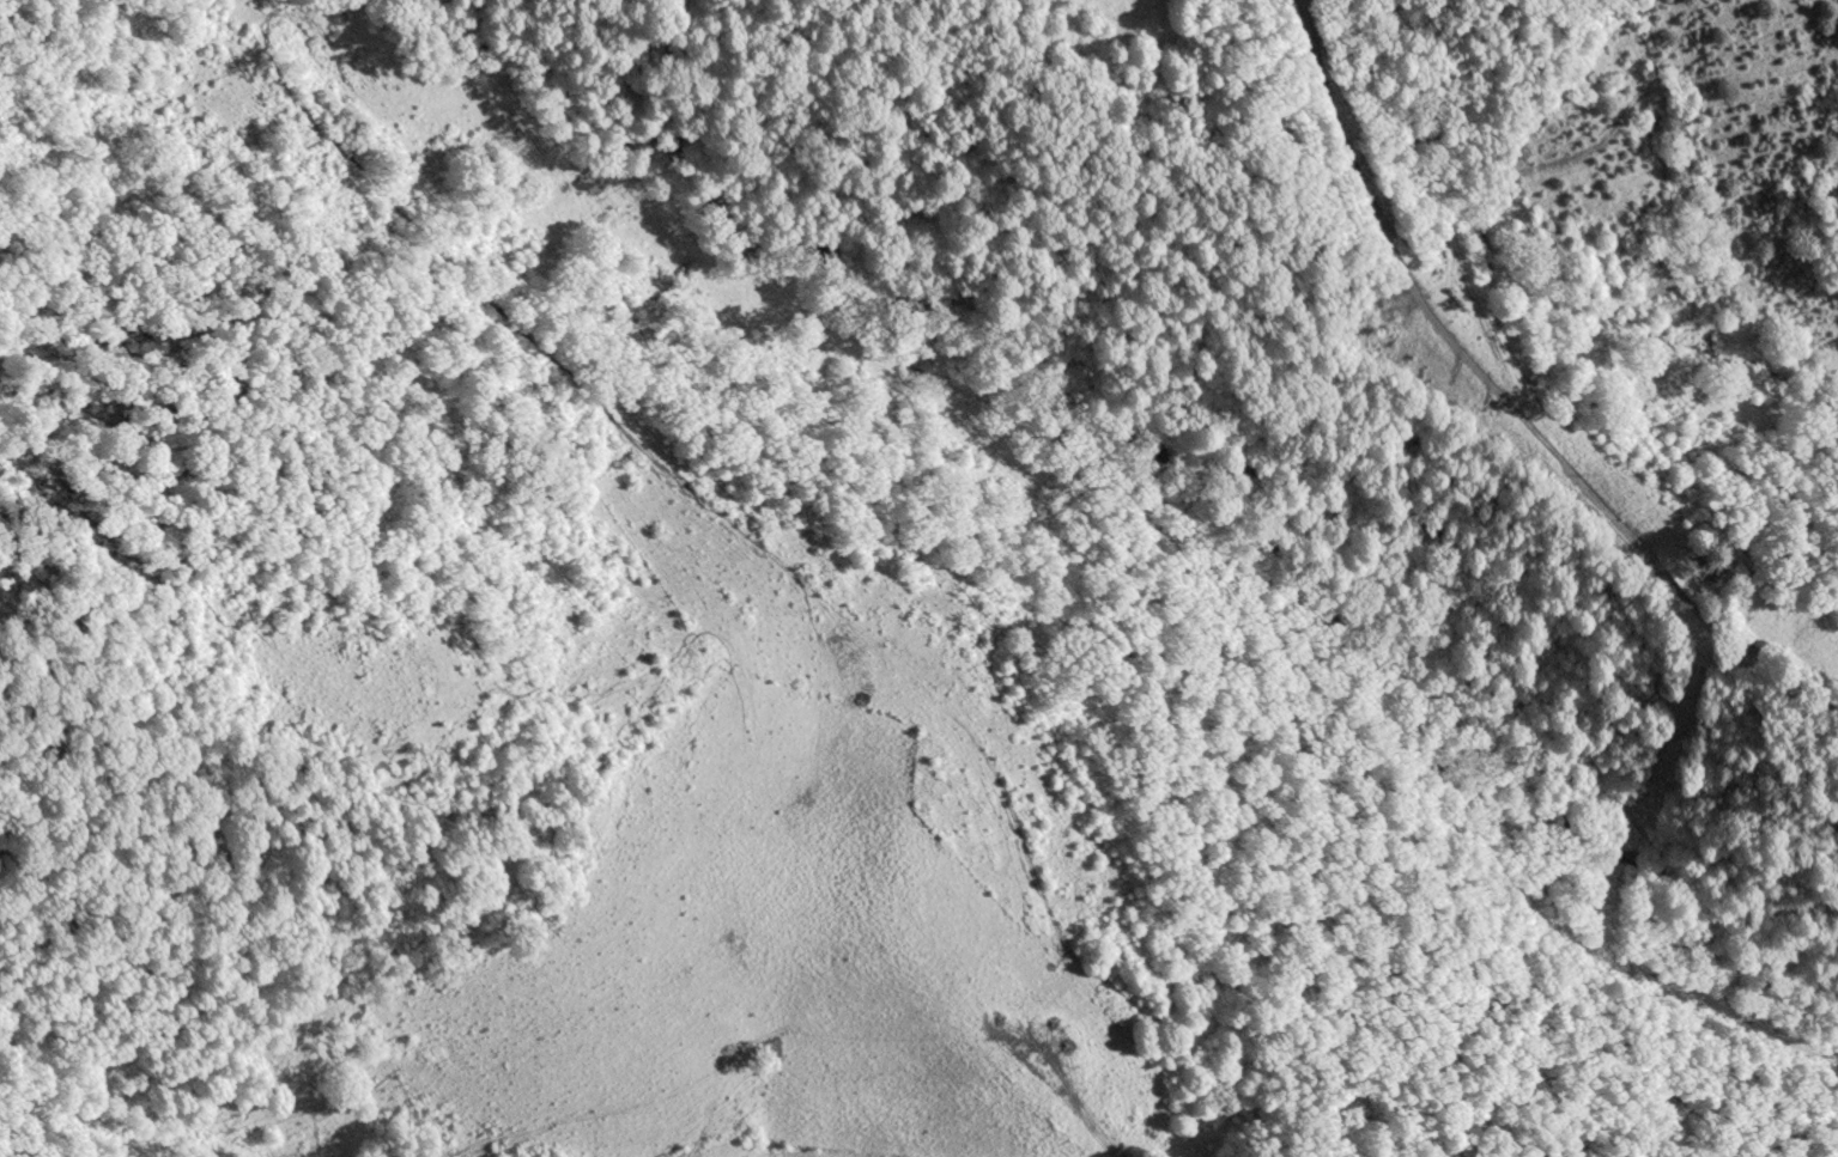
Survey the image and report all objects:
building: (1706, 572)

